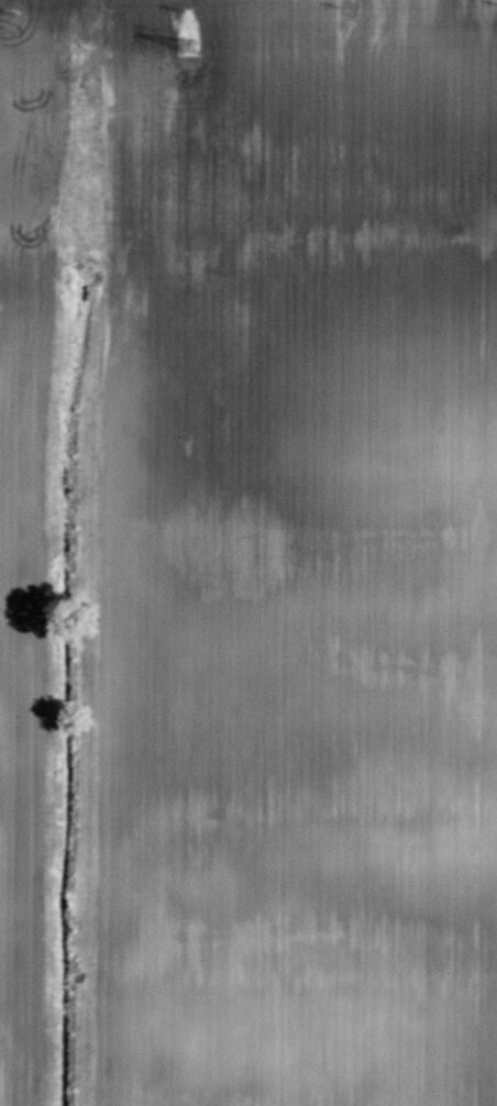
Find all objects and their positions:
power tower: (190, 46)

